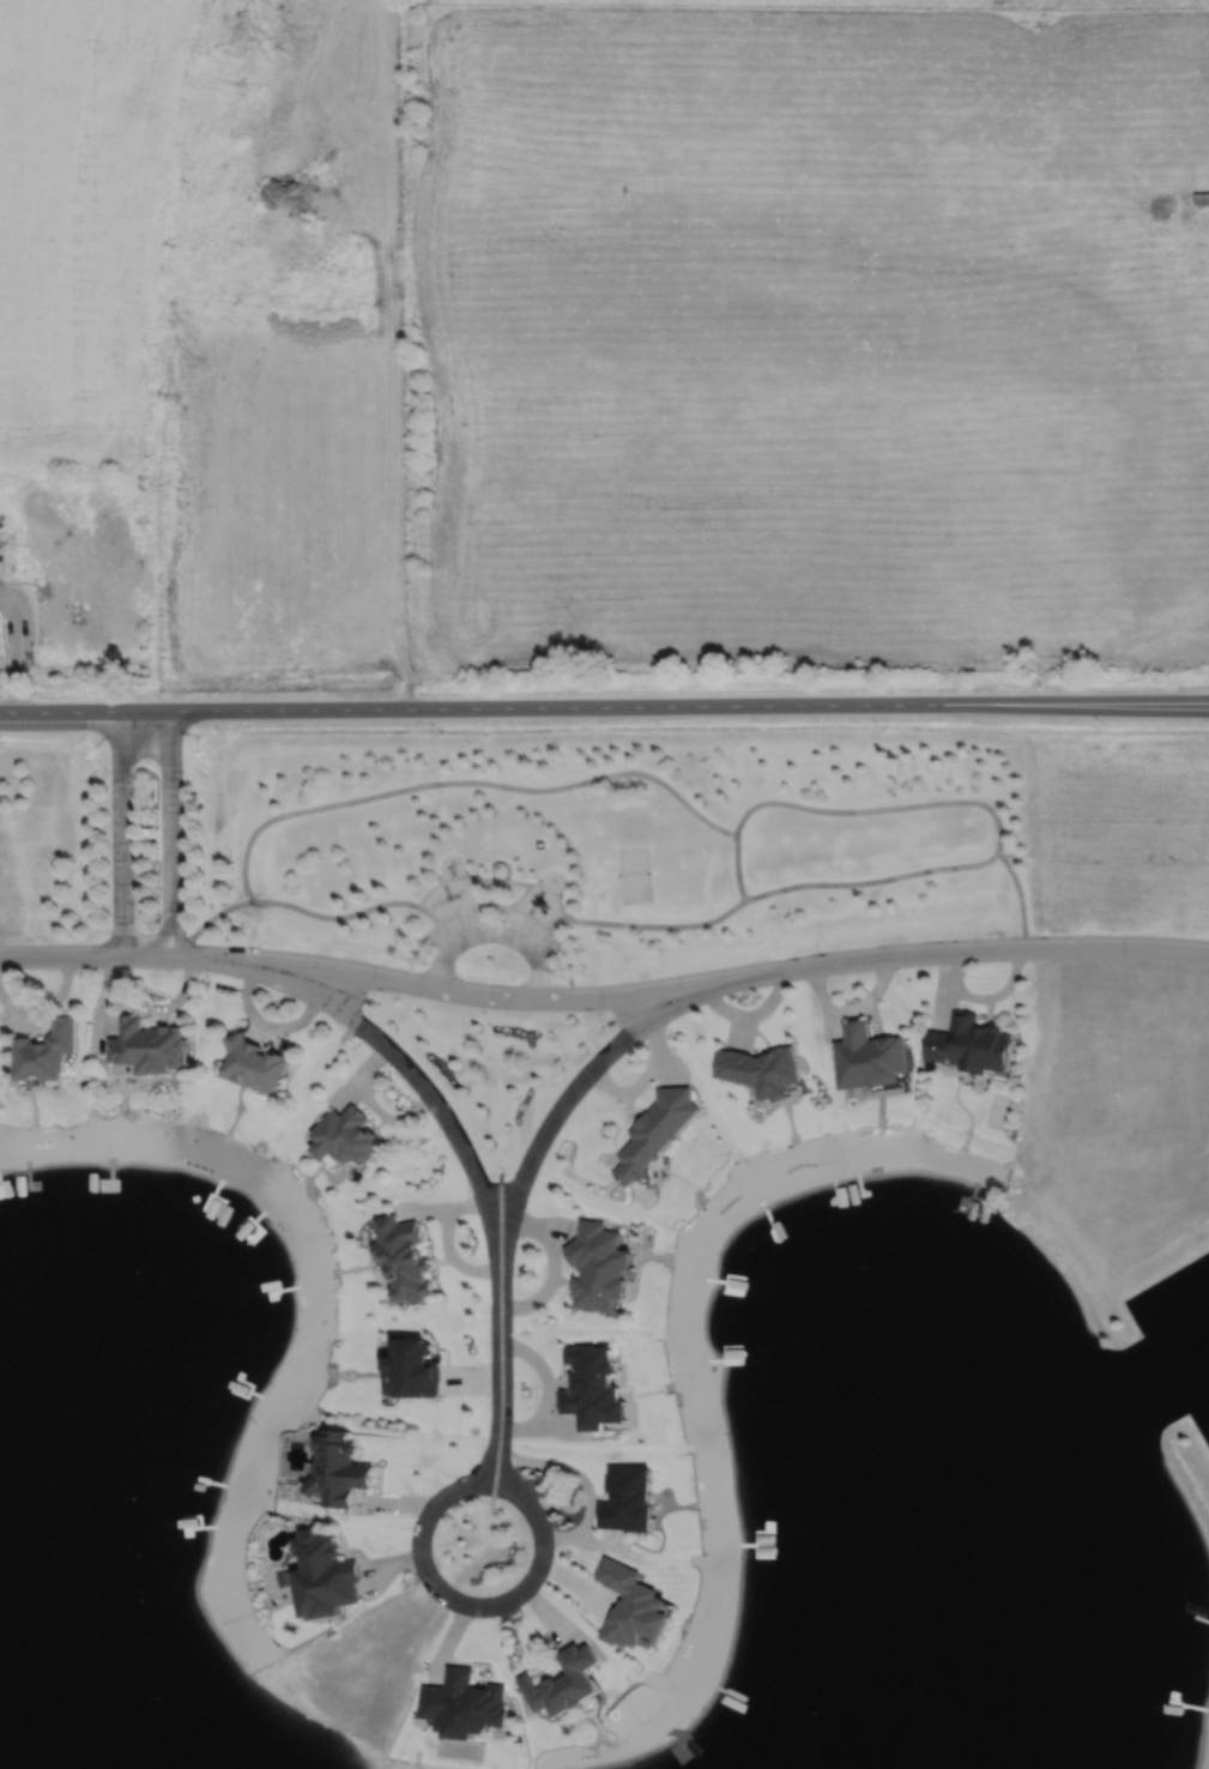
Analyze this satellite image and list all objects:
building: (1199, 198)
crop: (80, 218)
crop: (808, 330)
building: (2, 536)
building: (6, 564)
road: (1203, 704)
road: (598, 705)
road: (465, 781)
road: (877, 808)
road: (121, 832)
road: (171, 833)
park: (570, 839)
road: (738, 867)
building: (501, 869)
park: (634, 874)
road: (485, 879)
road: (439, 881)
road: (514, 881)
road: (871, 881)
road: (498, 893)
road: (552, 894)
road: (478, 896)
road: (1018, 898)
road: (516, 900)
road: (467, 910)
road: (218, 912)
road: (429, 913)
road: (524, 913)
road: (334, 917)
road: (555, 923)
road: (657, 925)
road: (496, 931)
parking lot: (452, 935)
road: (418, 950)
road: (61, 955)
road: (566, 960)
road: (443, 972)
road: (543, 979)
road: (665, 990)
building: (146, 1045)
building: (972, 1045)
building: (44, 1051)
building: (870, 1057)
building: (254, 1063)
road: (405, 1064)
building: (762, 1070)
road: (578, 1083)
building: (655, 1131)
building: (346, 1136)
building: (252, 1233)
building: (404, 1258)
building: (598, 1267)
road: (500, 1365)
building: (415, 1367)
building: (591, 1390)
building: (340, 1468)
building: (627, 1498)
building: (325, 1574)
road: (467, 1605)
building: (631, 1606)
building: (563, 1682)
building: (465, 1704)

